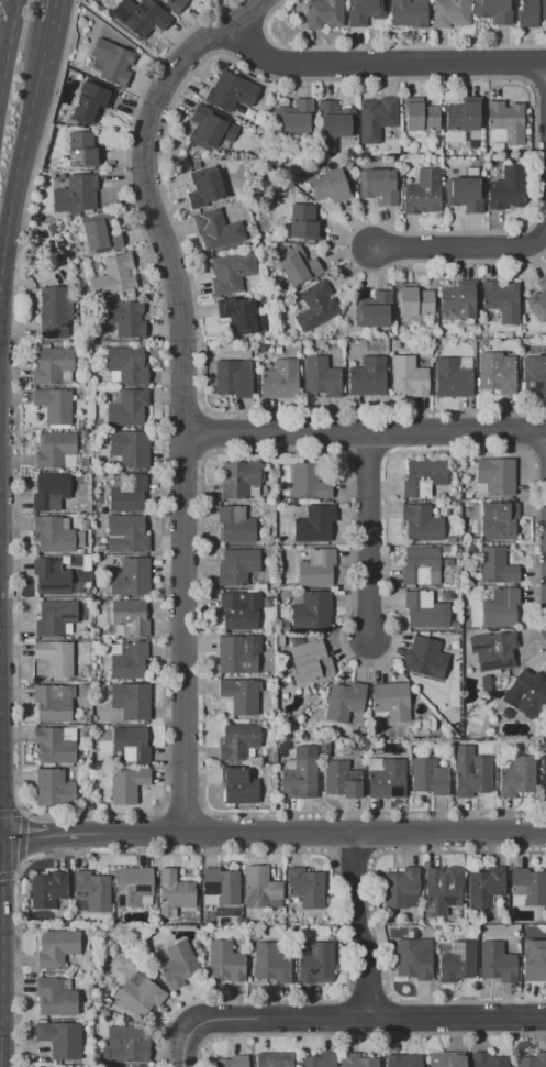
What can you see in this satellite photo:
road: (15, 3)
building: (175, 4)
road: (248, 8)
road: (258, 9)
building: (365, 11)
building: (493, 11)
road: (52, 12)
building: (409, 12)
building: (450, 12)
building: (531, 12)
building: (323, 13)
building: (140, 15)
road: (5, 30)
road: (207, 36)
road: (244, 41)
road: (10, 44)
road: (381, 46)
road: (43, 55)
building: (112, 61)
road: (380, 61)
road: (531, 65)
road: (289, 77)
road: (538, 85)
building: (231, 91)
road: (2, 97)
building: (88, 102)
building: (419, 114)
building: (463, 116)
building: (294, 117)
building: (377, 118)
building: (333, 123)
building: (505, 124)
building: (209, 128)
building: (458, 148)
building: (82, 150)
building: (437, 151)
road: (18, 158)
building: (328, 186)
building: (378, 186)
building: (203, 187)
building: (506, 188)
building: (422, 193)
building: (75, 194)
building: (464, 194)
building: (303, 222)
building: (216, 229)
building: (100, 234)
road: (461, 246)
building: (296, 265)
building: (231, 272)
building: (114, 276)
building: (459, 298)
building: (413, 299)
building: (502, 300)
building: (538, 300)
building: (315, 306)
building: (372, 309)
building: (54, 311)
building: (122, 317)
building: (239, 317)
building: (435, 342)
building: (394, 344)
building: (51, 365)
building: (125, 365)
building: (497, 372)
building: (408, 375)
building: (534, 375)
building: (321, 376)
building: (367, 376)
building: (233, 377)
building: (452, 377)
building: (279, 380)
building: (87, 393)
road: (180, 400)
building: (55, 406)
building: (125, 407)
road: (182, 407)
road: (203, 409)
building: (85, 410)
building: (82, 421)
building: (76, 422)
road: (345, 430)
road: (530, 430)
road: (385, 431)
road: (202, 432)
building: (83, 433)
road: (364, 433)
building: (129, 448)
road: (330, 450)
road: (345, 450)
road: (365, 450)
building: (56, 451)
road: (538, 451)
road: (181, 452)
road: (528, 452)
road: (204, 453)
road: (387, 453)
building: (287, 460)
building: (83, 462)
building: (271, 471)
building: (495, 475)
building: (423, 476)
building: (239, 480)
building: (309, 483)
building: (49, 492)
building: (126, 492)
building: (103, 510)
building: (498, 520)
building: (421, 522)
building: (314, 524)
building: (83, 525)
building: (235, 525)
building: (101, 533)
building: (125, 533)
road: (367, 535)
building: (53, 536)
building: (79, 539)
building: (270, 540)
building: (100, 546)
building: (79, 551)
building: (86, 560)
building: (68, 565)
building: (420, 565)
building: (495, 565)
building: (237, 566)
building: (316, 568)
building: (51, 576)
building: (130, 577)
building: (97, 603)
building: (500, 607)
building: (310, 609)
building: (239, 610)
building: (425, 612)
building: (55, 617)
building: (130, 618)
building: (279, 629)
building: (85, 630)
building: (270, 636)
building: (269, 640)
building: (296, 640)
building: (493, 650)
building: (236, 656)
building: (55, 657)
building: (425, 658)
building: (127, 659)
building: (309, 660)
building: (97, 679)
building: (99, 685)
building: (525, 693)
building: (241, 694)
building: (130, 700)
building: (344, 701)
building: (390, 701)
building: (53, 702)
building: (87, 722)
building: (473, 725)
building: (86, 736)
building: (238, 743)
building: (55, 745)
building: (131, 745)
building: (352, 747)
building: (325, 749)
building: (379, 750)
building: (300, 774)
building: (472, 776)
building: (515, 776)
building: (544, 776)
building: (428, 777)
building: (342, 778)
building: (386, 778)
building: (125, 783)
building: (238, 784)
building: (53, 788)
building: (88, 802)
road: (160, 810)
road: (205, 810)
road: (10, 811)
road: (182, 812)
road: (108, 813)
road: (163, 832)
road: (203, 832)
road: (330, 832)
road: (371, 832)
road: (302, 833)
road: (21, 837)
road: (30, 839)
road: (256, 851)
road: (350, 853)
road: (375, 854)
road: (328, 855)
road: (8, 876)
building: (484, 886)
building: (134, 887)
building: (220, 887)
building: (305, 887)
building: (401, 888)
building: (527, 888)
building: (260, 889)
building: (442, 889)
building: (47, 890)
building: (91, 892)
building: (174, 893)
road: (375, 919)
building: (423, 922)
road: (357, 924)
building: (481, 934)
building: (254, 937)
building: (56, 948)
building: (413, 959)
building: (225, 960)
building: (497, 961)
building: (534, 961)
building: (270, 963)
building: (457, 963)
building: (315, 964)
building: (179, 965)
building: (138, 994)
road: (344, 994)
road: (389, 996)
building: (55, 997)
road: (367, 997)
building: (105, 1002)
building: (85, 1008)
road: (344, 1014)
road: (389, 1014)
building: (105, 1016)
road: (367, 1016)
road: (359, 1033)
building: (60, 1038)
building: (127, 1043)
road: (186, 1046)
building: (101, 1056)
building: (275, 1059)
building: (444, 1059)
building: (319, 1060)
building: (357, 1060)
building: (404, 1060)
building: (488, 1060)
building: (532, 1060)
building: (231, 1061)
building: (104, 1066)

